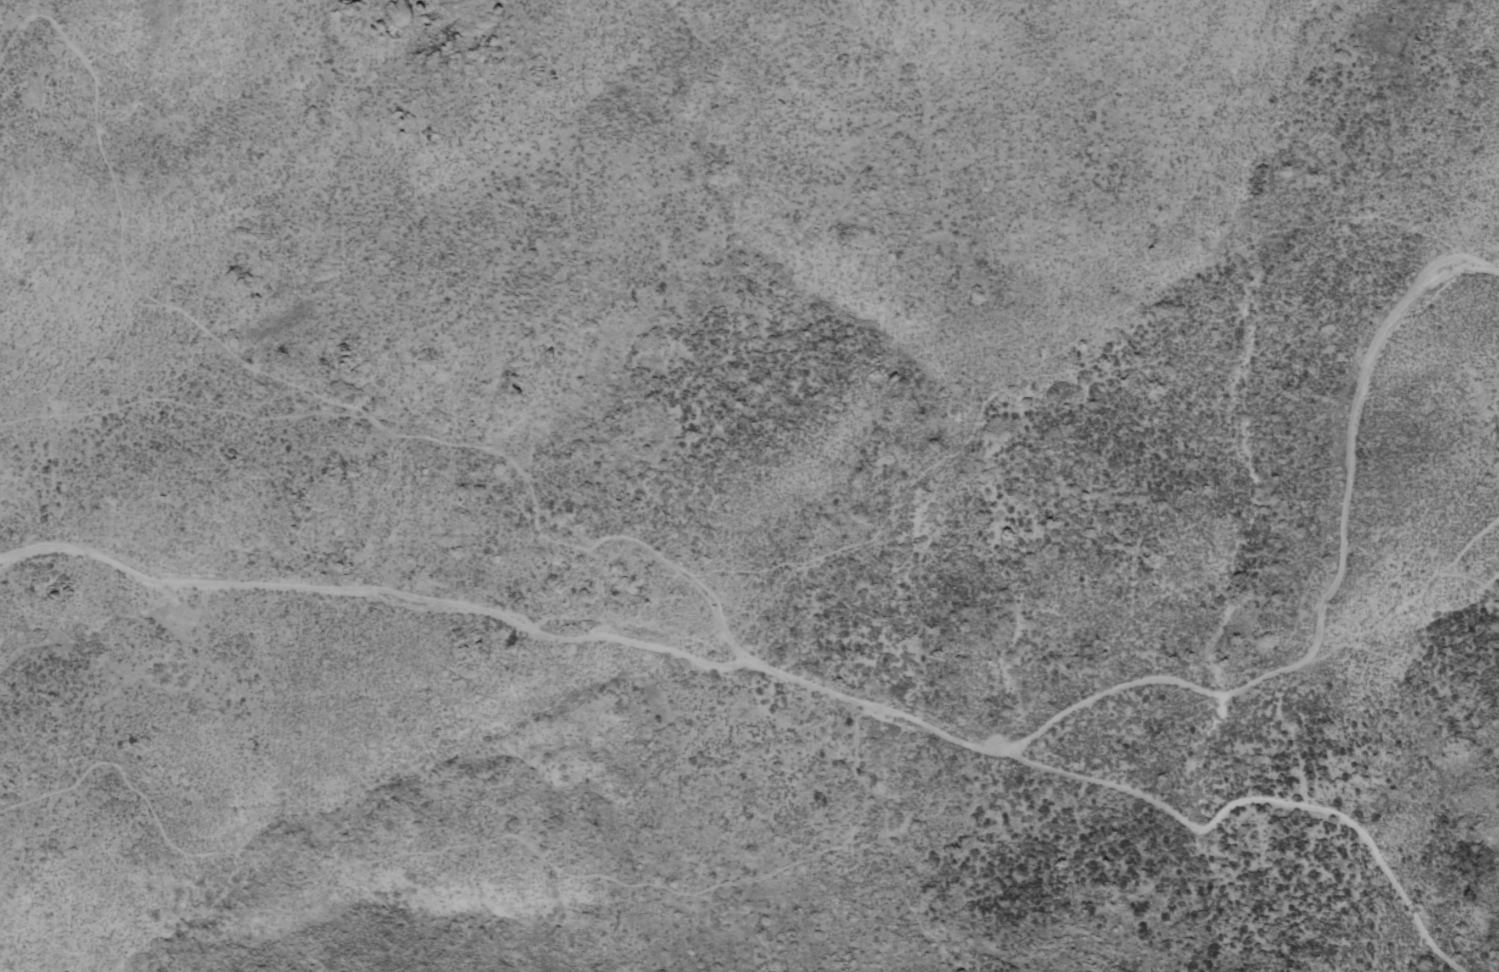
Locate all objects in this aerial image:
road: (746, 663)
road: (1436, 947)

